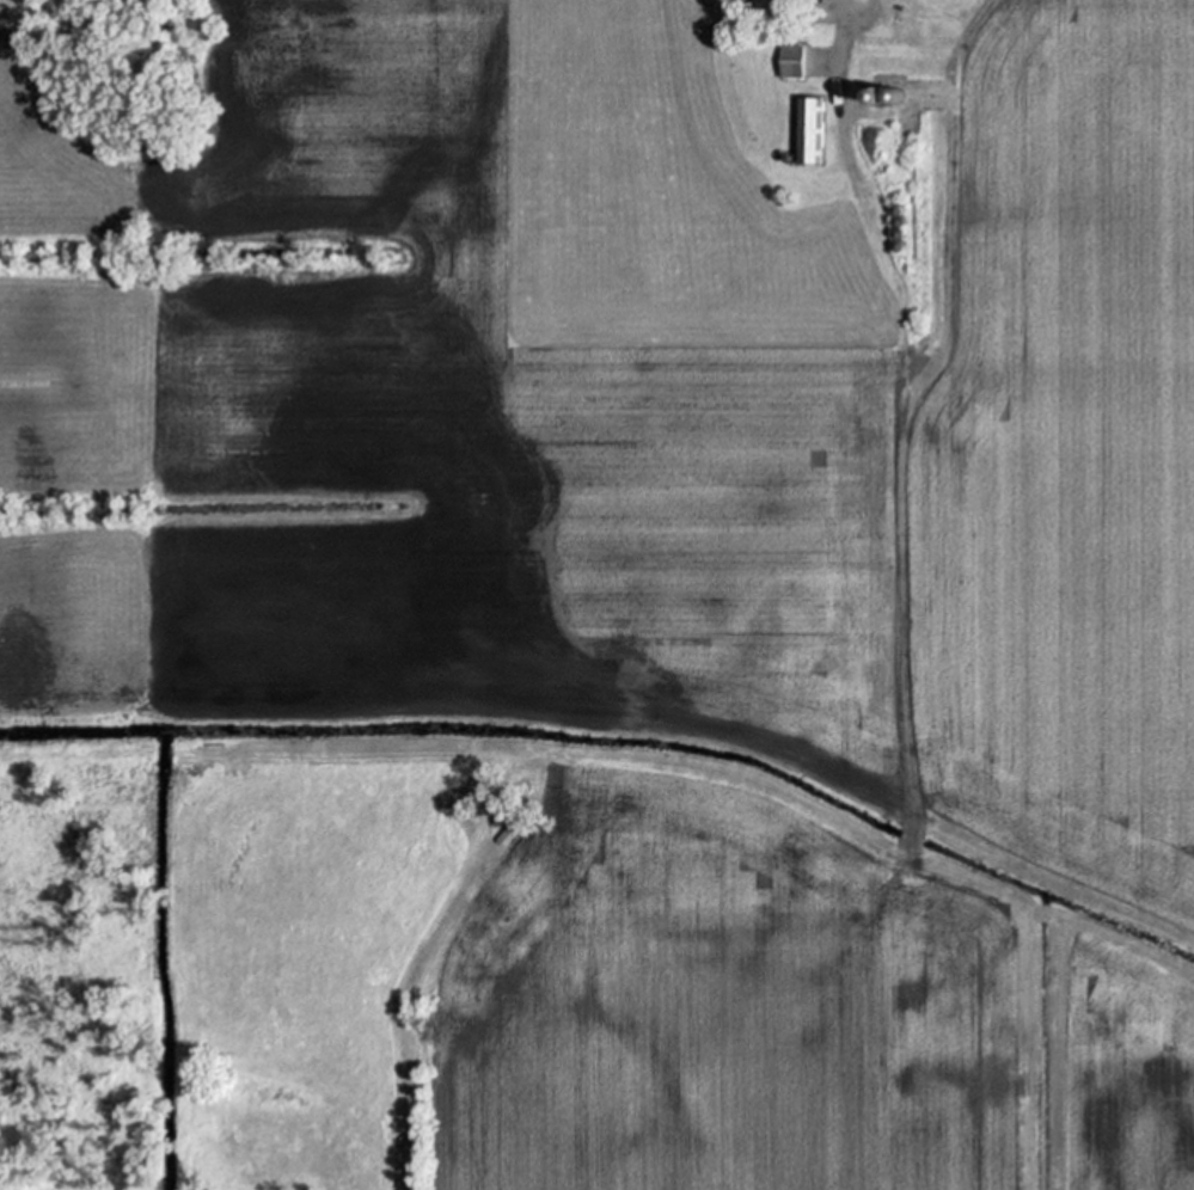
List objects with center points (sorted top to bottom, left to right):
building: (814, 18)
building: (791, 61)
road: (853, 78)
building: (878, 96)
building: (896, 96)
building: (808, 131)
building: (789, 157)
building: (898, 209)
building: (898, 222)
building: (898, 235)
building: (898, 247)
building: (163, 749)
building: (908, 839)

